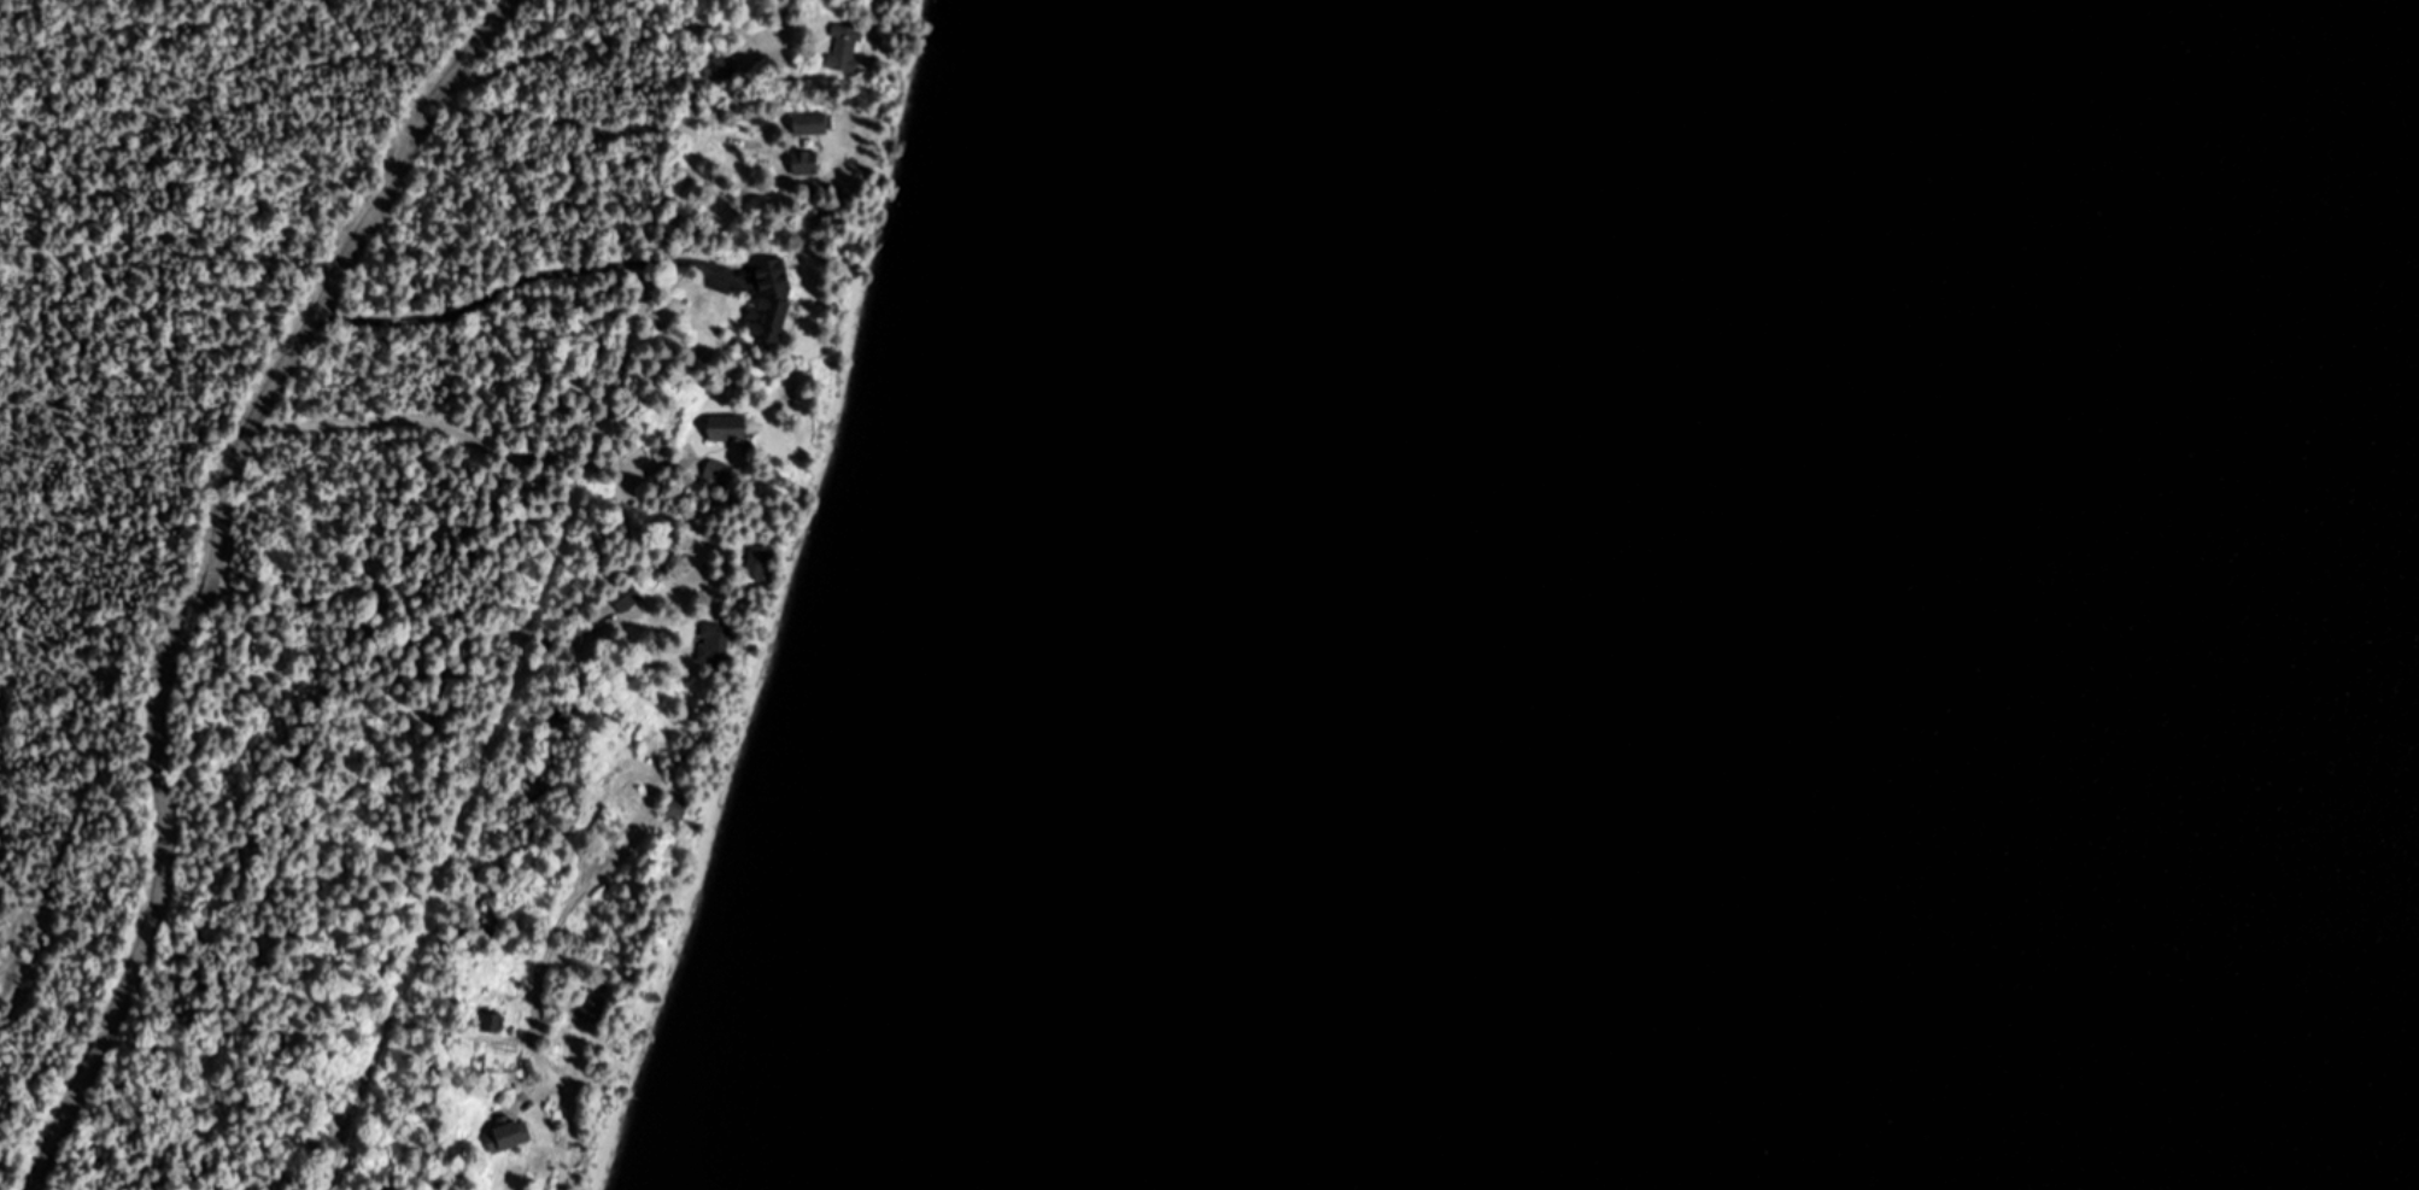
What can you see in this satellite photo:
building: (845, 48)
building: (721, 66)
building: (812, 124)
building: (806, 164)
building: (772, 300)
building: (730, 427)
road: (411, 465)
building: (716, 471)
road: (391, 508)
road: (380, 552)
building: (761, 562)
road: (211, 574)
building: (626, 596)
building: (715, 643)
building: (678, 809)
road: (157, 978)
building: (488, 1020)
road: (358, 1108)
road: (570, 1135)

